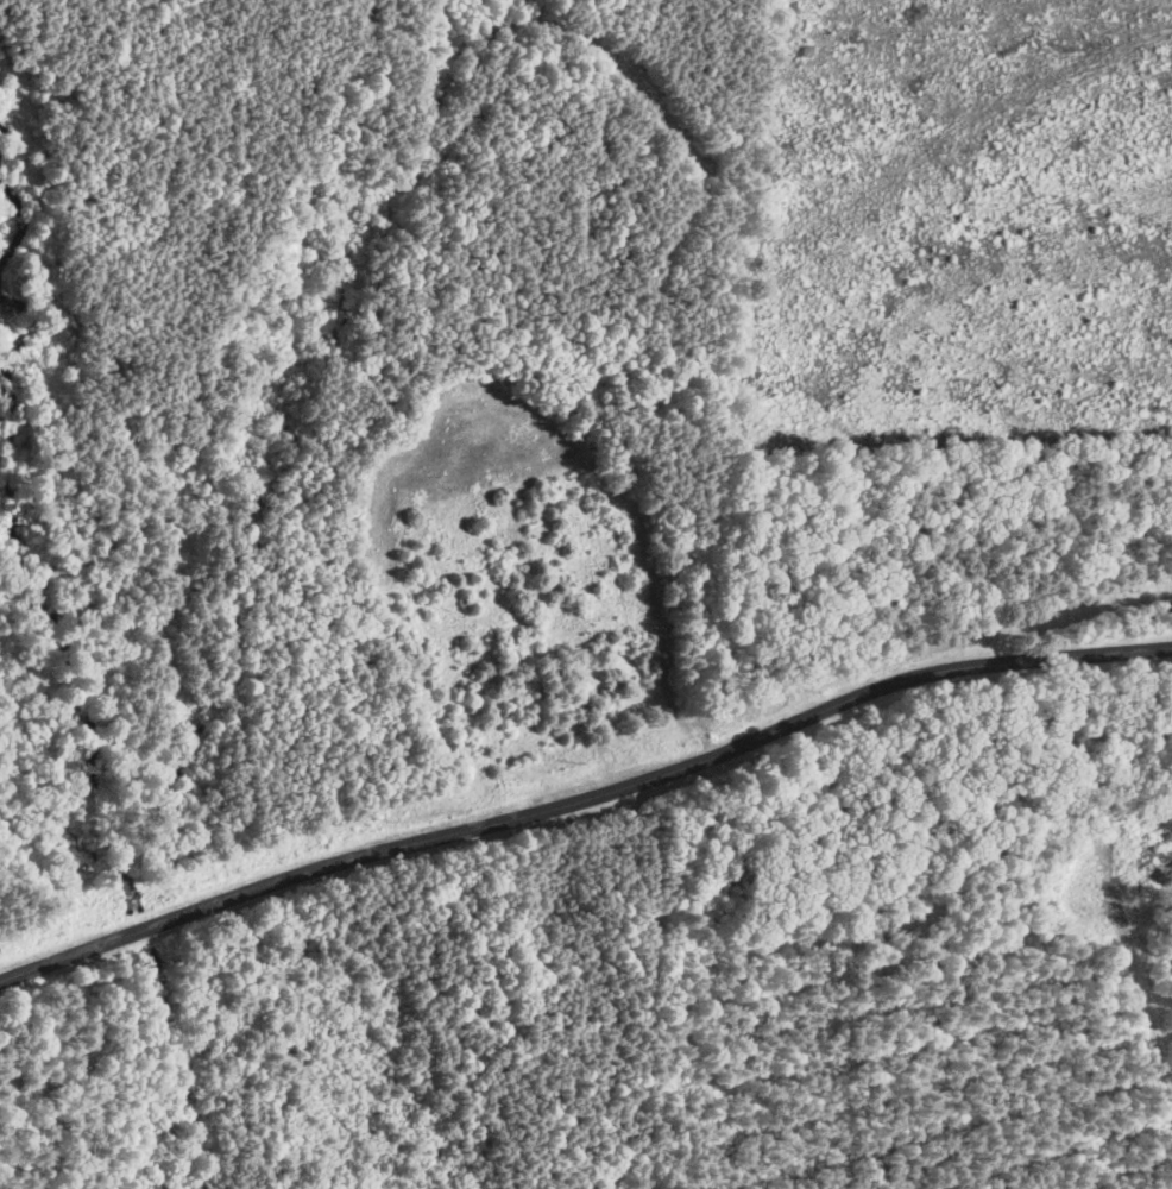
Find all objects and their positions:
road: (662, 768)
road: (78, 949)

